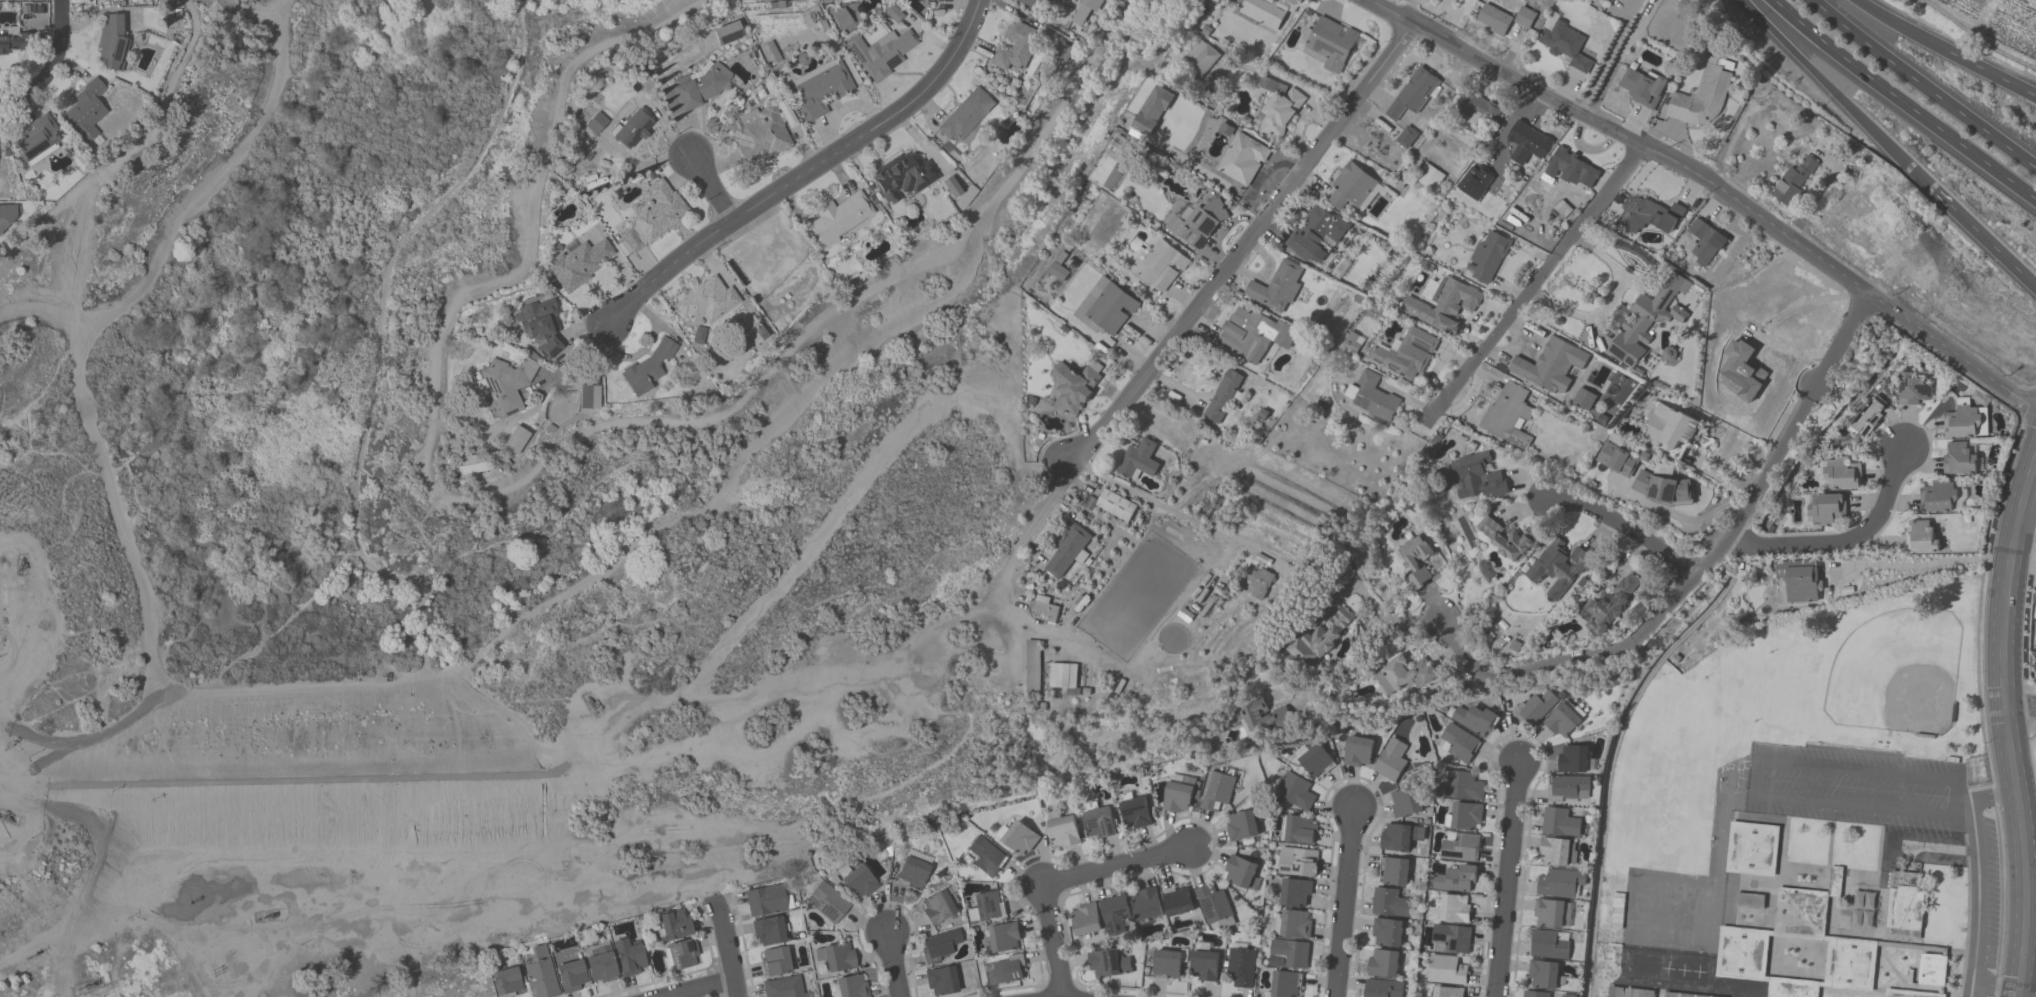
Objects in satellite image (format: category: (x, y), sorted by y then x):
building: (106, 0)
building: (938, 0)
building: (1471, 0)
building: (1615, 1)
building: (1038, 3)
road: (1388, 5)
building: (1267, 12)
building: (894, 14)
building: (1083, 17)
building: (843, 19)
building: (1503, 19)
road: (1913, 33)
building: (727, 34)
building: (14, 43)
building: (113, 43)
building: (1565, 44)
building: (1328, 45)
building: (1017, 47)
building: (882, 53)
building: (770, 54)
road: (1607, 59)
building: (1201, 60)
road: (54, 66)
road: (2005, 82)
road: (1926, 83)
building: (1641, 87)
building: (698, 88)
building: (821, 89)
road: (1834, 93)
building: (1413, 94)
building: (1702, 99)
road: (1900, 105)
building: (1277, 108)
building: (1478, 109)
building: (87, 111)
building: (967, 115)
road: (1298, 121)
building: (597, 123)
building: (633, 129)
building: (759, 135)
building: (1406, 137)
building: (37, 139)
building: (1531, 142)
building: (1116, 151)
road: (132, 153)
building: (1241, 160)
building: (1574, 167)
road: (807, 171)
building: (903, 176)
building: (1429, 177)
building: (1793, 180)
road: (209, 184)
road: (1714, 185)
road: (711, 186)
building: (951, 187)
building: (1351, 188)
building: (1650, 212)
building: (652, 217)
building: (839, 218)
building: (1198, 223)
building: (1318, 233)
road: (1981, 235)
building: (1705, 243)
road: (1242, 249)
building: (1487, 257)
building: (580, 264)
building: (1161, 267)
road: (1537, 277)
building: (1277, 287)
building: (707, 301)
road: (1608, 303)
building: (1443, 306)
building: (1106, 308)
building: (1645, 322)
building: (542, 327)
building: (1253, 334)
building: (756, 336)
building: (1352, 342)
building: (1406, 354)
road: (577, 360)
building: (1548, 365)
building: (646, 371)
building: (506, 385)
building: (1074, 387)
building: (1913, 391)
building: (1223, 396)
building: (1372, 397)
building: (589, 398)
building: (1508, 415)
building: (1867, 418)
building: (1962, 423)
building: (1671, 428)
park: (792, 436)
building: (1138, 460)
building: (1617, 460)
building: (1959, 460)
building: (472, 464)
building: (1838, 474)
building: (1477, 479)
building: (1661, 487)
building: (1939, 497)
building: (1116, 505)
road: (1165, 507)
building: (1823, 509)
road: (1678, 518)
road: (1630, 529)
road: (2025, 531)
building: (1923, 537)
building: (1506, 538)
road: (1842, 539)
road: (1722, 543)
building: (1068, 551)
road: (130, 561)
building: (1415, 562)
petroleum well: (21, 564)
road: (1919, 564)
building: (1558, 567)
road: (1009, 578)
building: (1798, 582)
building: (1260, 586)
road: (569, 592)
building: (1609, 606)
building: (1044, 607)
building: (2033, 610)
road: (1391, 623)
building: (1322, 638)
road: (264, 640)
road: (424, 642)
road: (1462, 648)
building: (1032, 667)
building: (1062, 676)
building: (1403, 676)
road: (349, 685)
road: (2019, 706)
building: (1536, 707)
building: (1262, 719)
building: (1476, 720)
road: (2005, 725)
building: (1458, 744)
building: (1358, 752)
building: (1572, 759)
building: (1391, 760)
building: (1315, 761)
road: (1758, 776)
building: (1461, 785)
building: (1568, 789)
building: (1215, 792)
building: (1294, 792)
building: (1178, 794)
road: (1988, 795)
building: (1405, 802)
building: (1133, 811)
building: (1466, 816)
petroleum well: (6, 817)
building: (1097, 822)
building: (1560, 823)
building: (1241, 827)
building: (1062, 831)
building: (1299, 831)
building: (1017, 837)
building: (1401, 837)
building: (1459, 847)
building: (1752, 850)
building: (1557, 852)
building: (987, 857)
building: (1297, 862)
building: (914, 871)
building: (1394, 871)
building: (1240, 873)
road: (1504, 878)
building: (1455, 879)
road: (1059, 880)
building: (858, 881)
building: (1561, 884)
building: (1655, 887)
building: (1696, 892)
building: (1296, 894)
building: (768, 901)
building: (1177, 901)
building: (828, 902)
road: (1342, 902)
building: (1389, 903)
building: (1146, 904)
building: (988, 906)
building: (940, 907)
building: (1905, 907)
building: (1215, 908)
building: (1455, 909)
road: (1978, 909)
building: (1617, 911)
building: (1863, 911)
building: (1552, 914)
building: (1115, 915)
petroleum well: (267, 916)
building: (1086, 920)
building: (1292, 924)
building: (674, 925)
building: (769, 931)
building: (1386, 933)
building: (1003, 938)
building: (1451, 939)
road: (723, 941)
building: (941, 945)
building: (1550, 945)
building: (1795, 950)
building: (683, 954)
building: (1288, 954)
building: (631, 957)
building: (837, 957)
road: (2028, 960)
building: (777, 961)
building: (1624, 962)
building: (1204, 963)
building: (1382, 963)
building: (601, 964)
road: (894, 964)
building: (1109, 964)
building: (1167, 965)
building: (1242, 965)
building: (1004, 971)
building: (1446, 971)
building: (571, 972)
building: (541, 973)
building: (1544, 975)
building: (1927, 978)
building: (942, 981)
building: (508, 982)
building: (1286, 984)
petroleum well: (90, 985)
building: (852, 986)
building: (783, 987)
building: (1382, 988)
road: (706, 990)
road: (734, 990)
building: (1446, 992)
building: (1645, 993)
building: (1535, 994)
building: (1566, 996)

